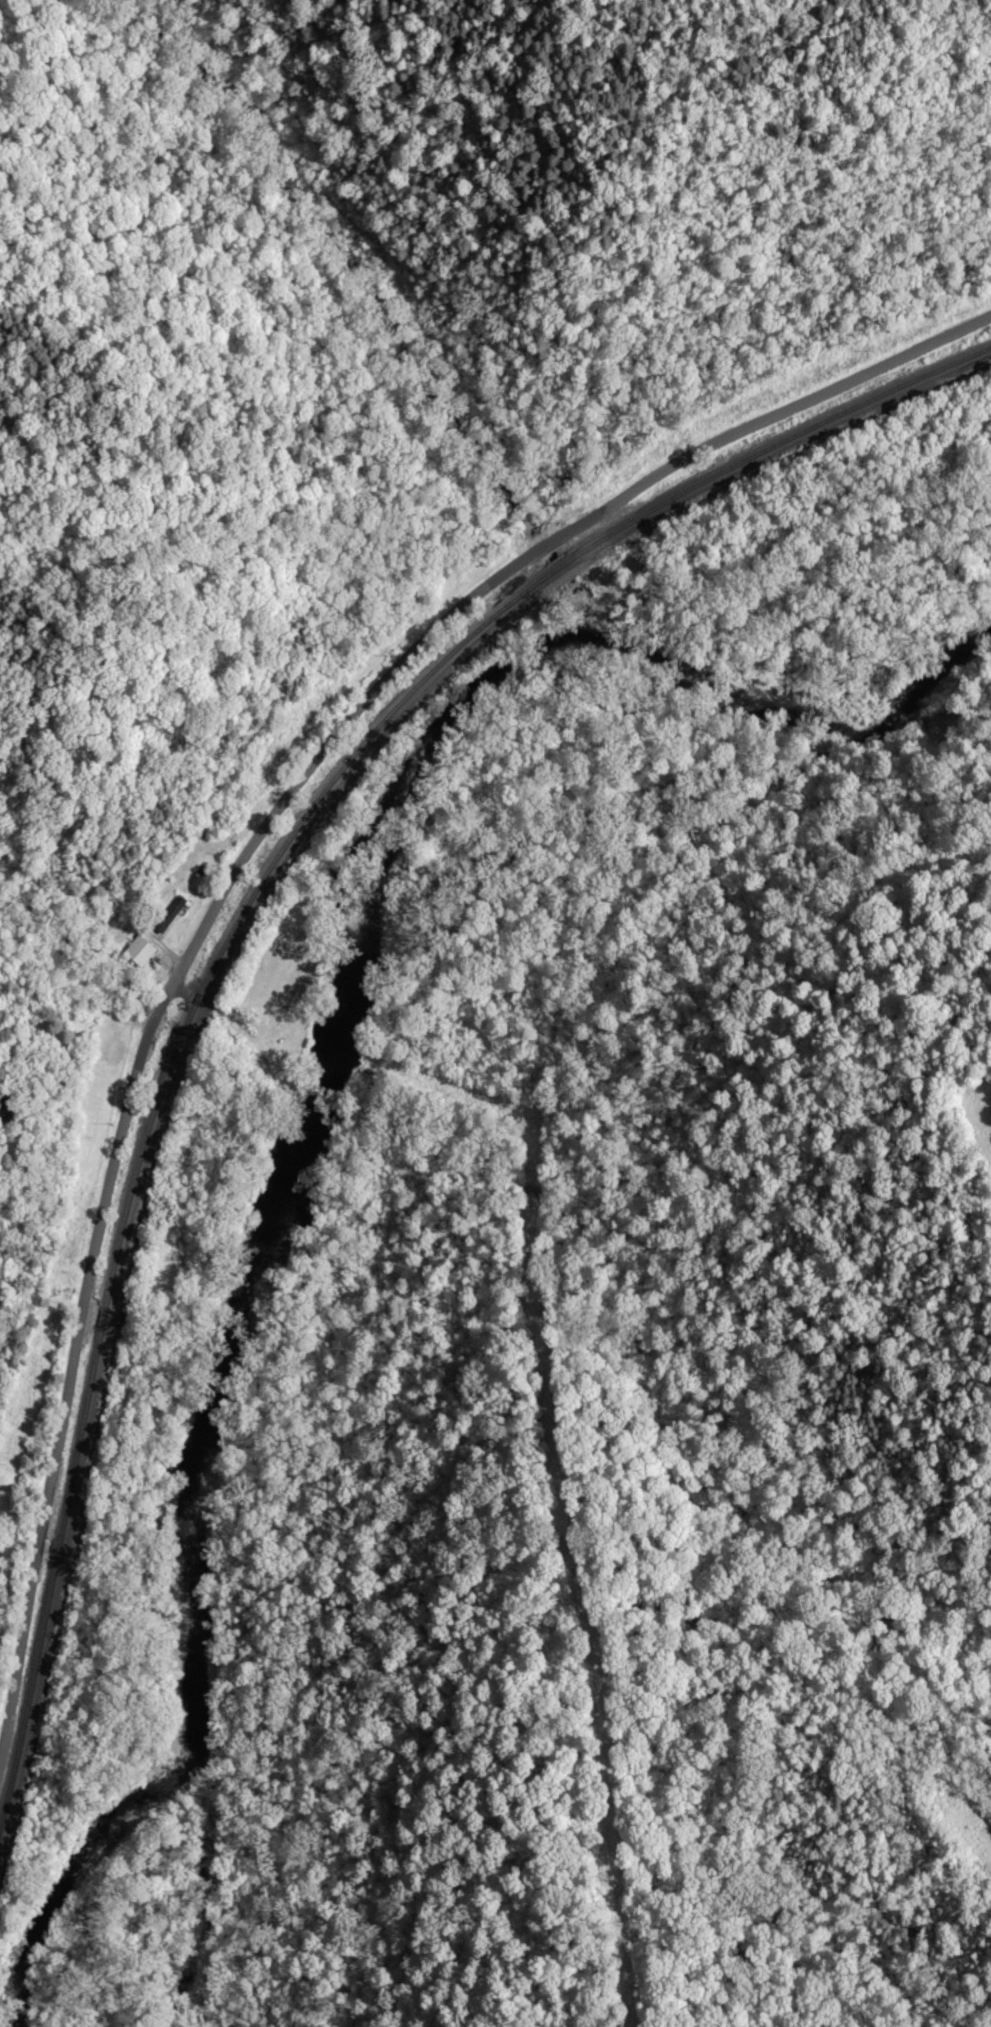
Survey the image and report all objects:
road: (250, 837)
railway: (240, 904)
building: (176, 910)
building: (142, 950)

